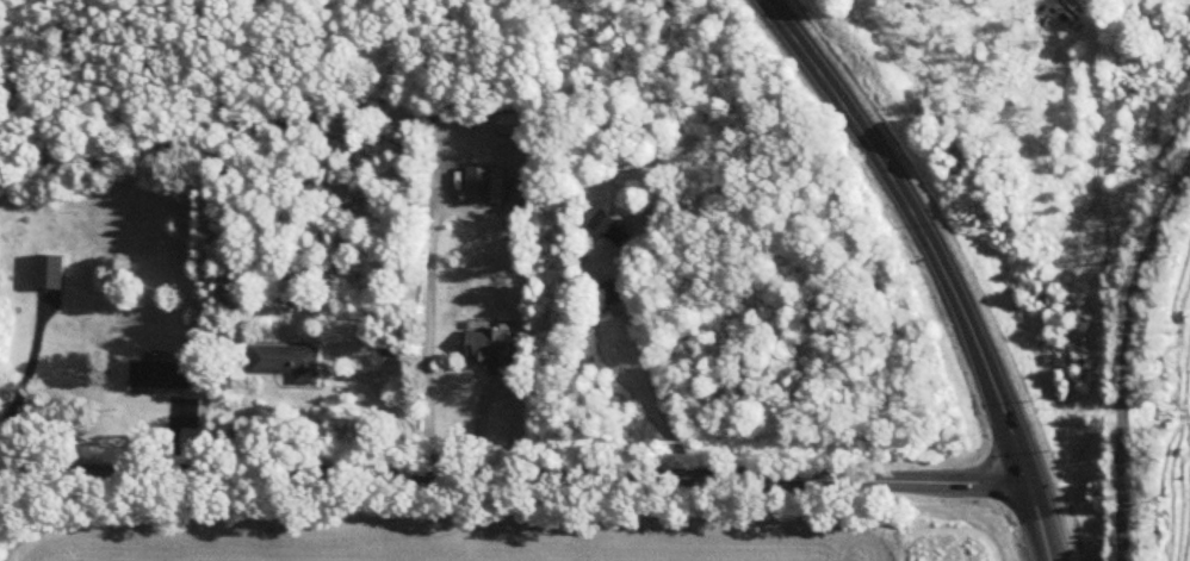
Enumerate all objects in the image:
building: (513, 125)
building: (481, 187)
building: (612, 231)
road: (940, 263)
building: (50, 274)
building: (612, 294)
road: (428, 336)
building: (492, 350)
road: (1127, 353)
building: (289, 363)
road: (23, 375)
building: (161, 375)
road: (657, 393)
road: (515, 478)

